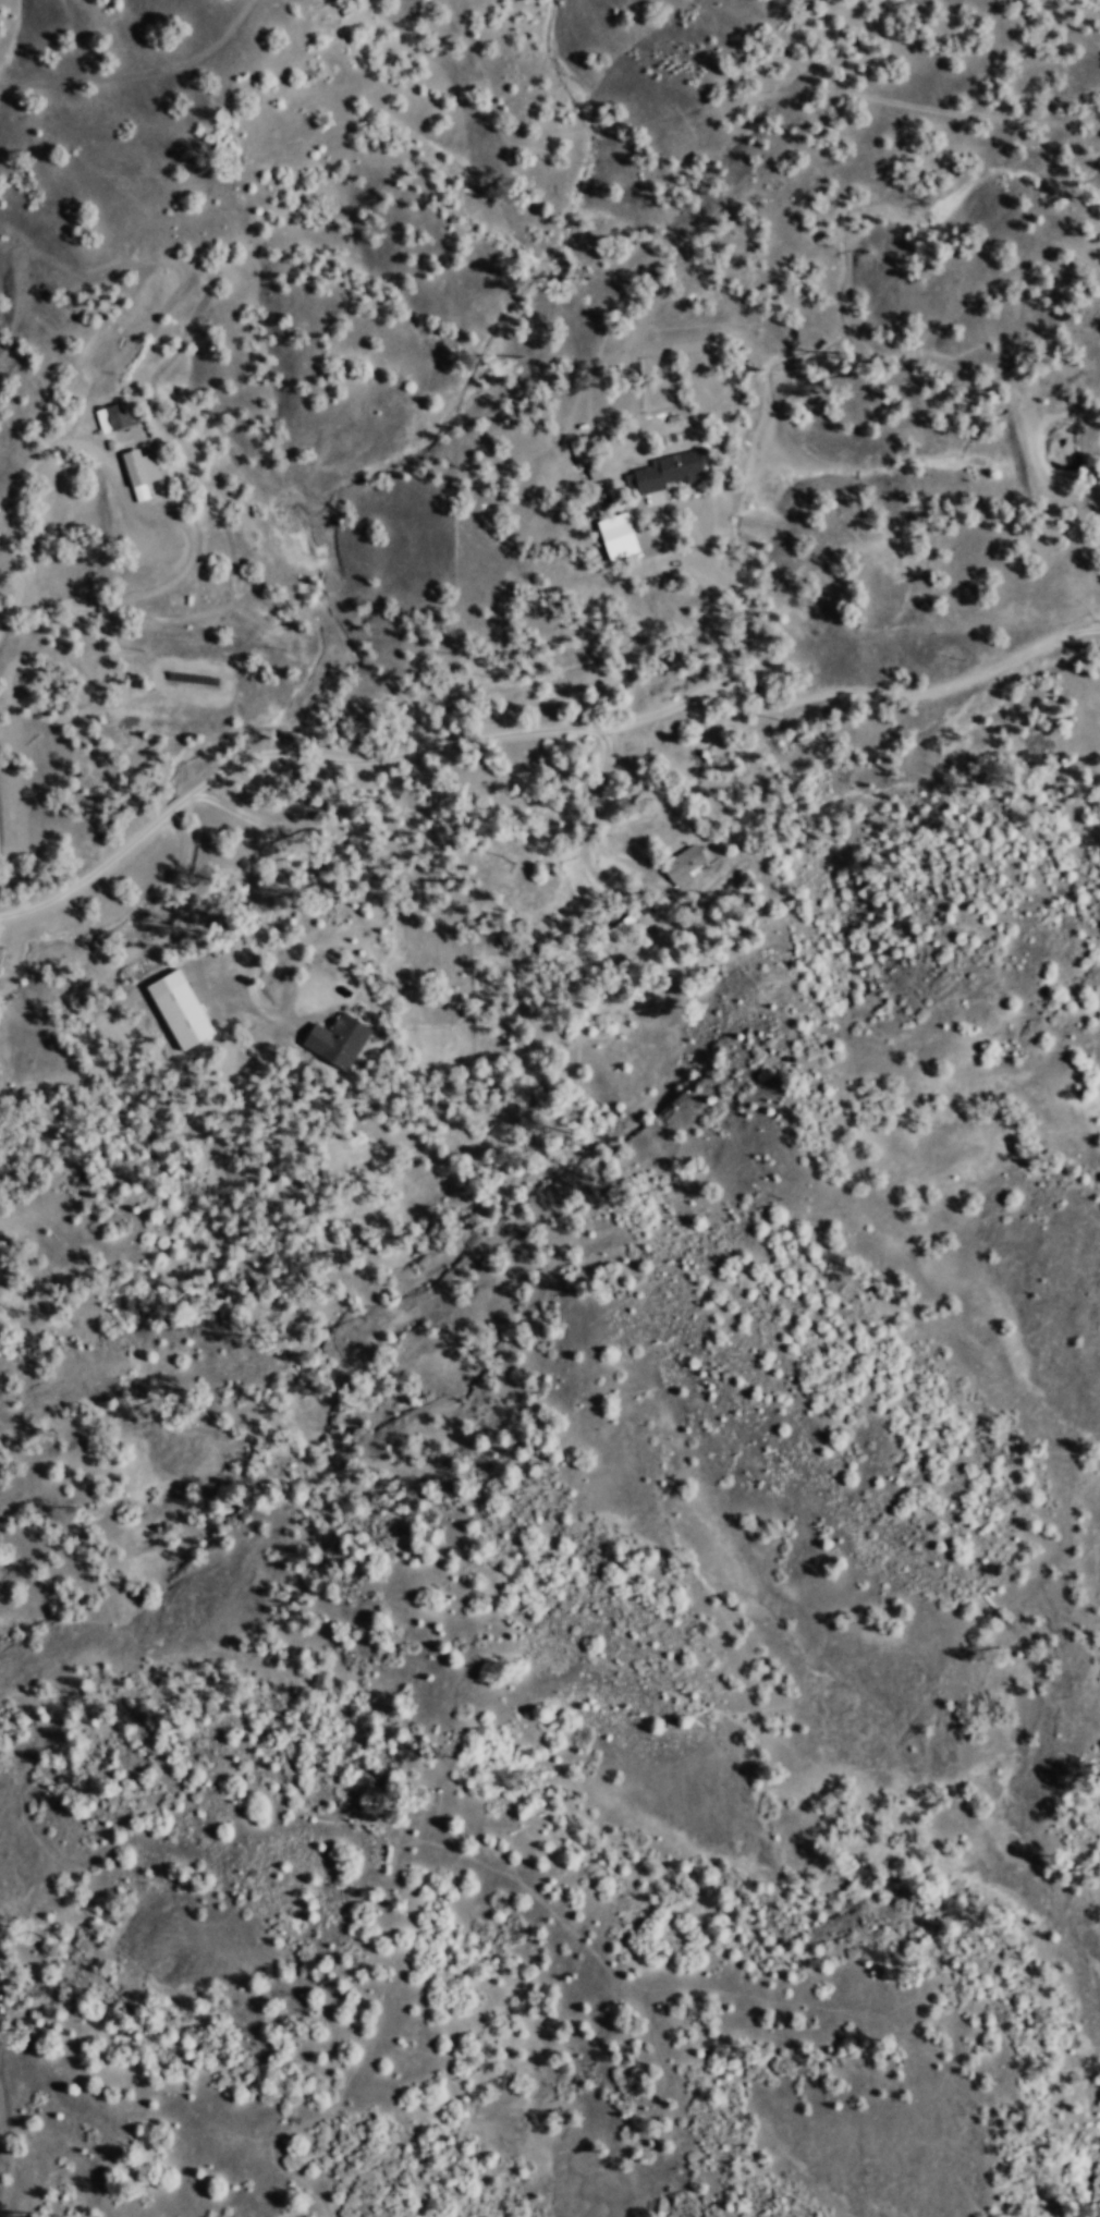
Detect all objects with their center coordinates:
road: (136, 71)
road: (730, 98)
building: (114, 416)
building: (592, 470)
building: (670, 470)
building: (143, 471)
road: (17, 544)
road: (530, 735)
building: (685, 863)
building: (185, 1009)
building: (342, 1039)

